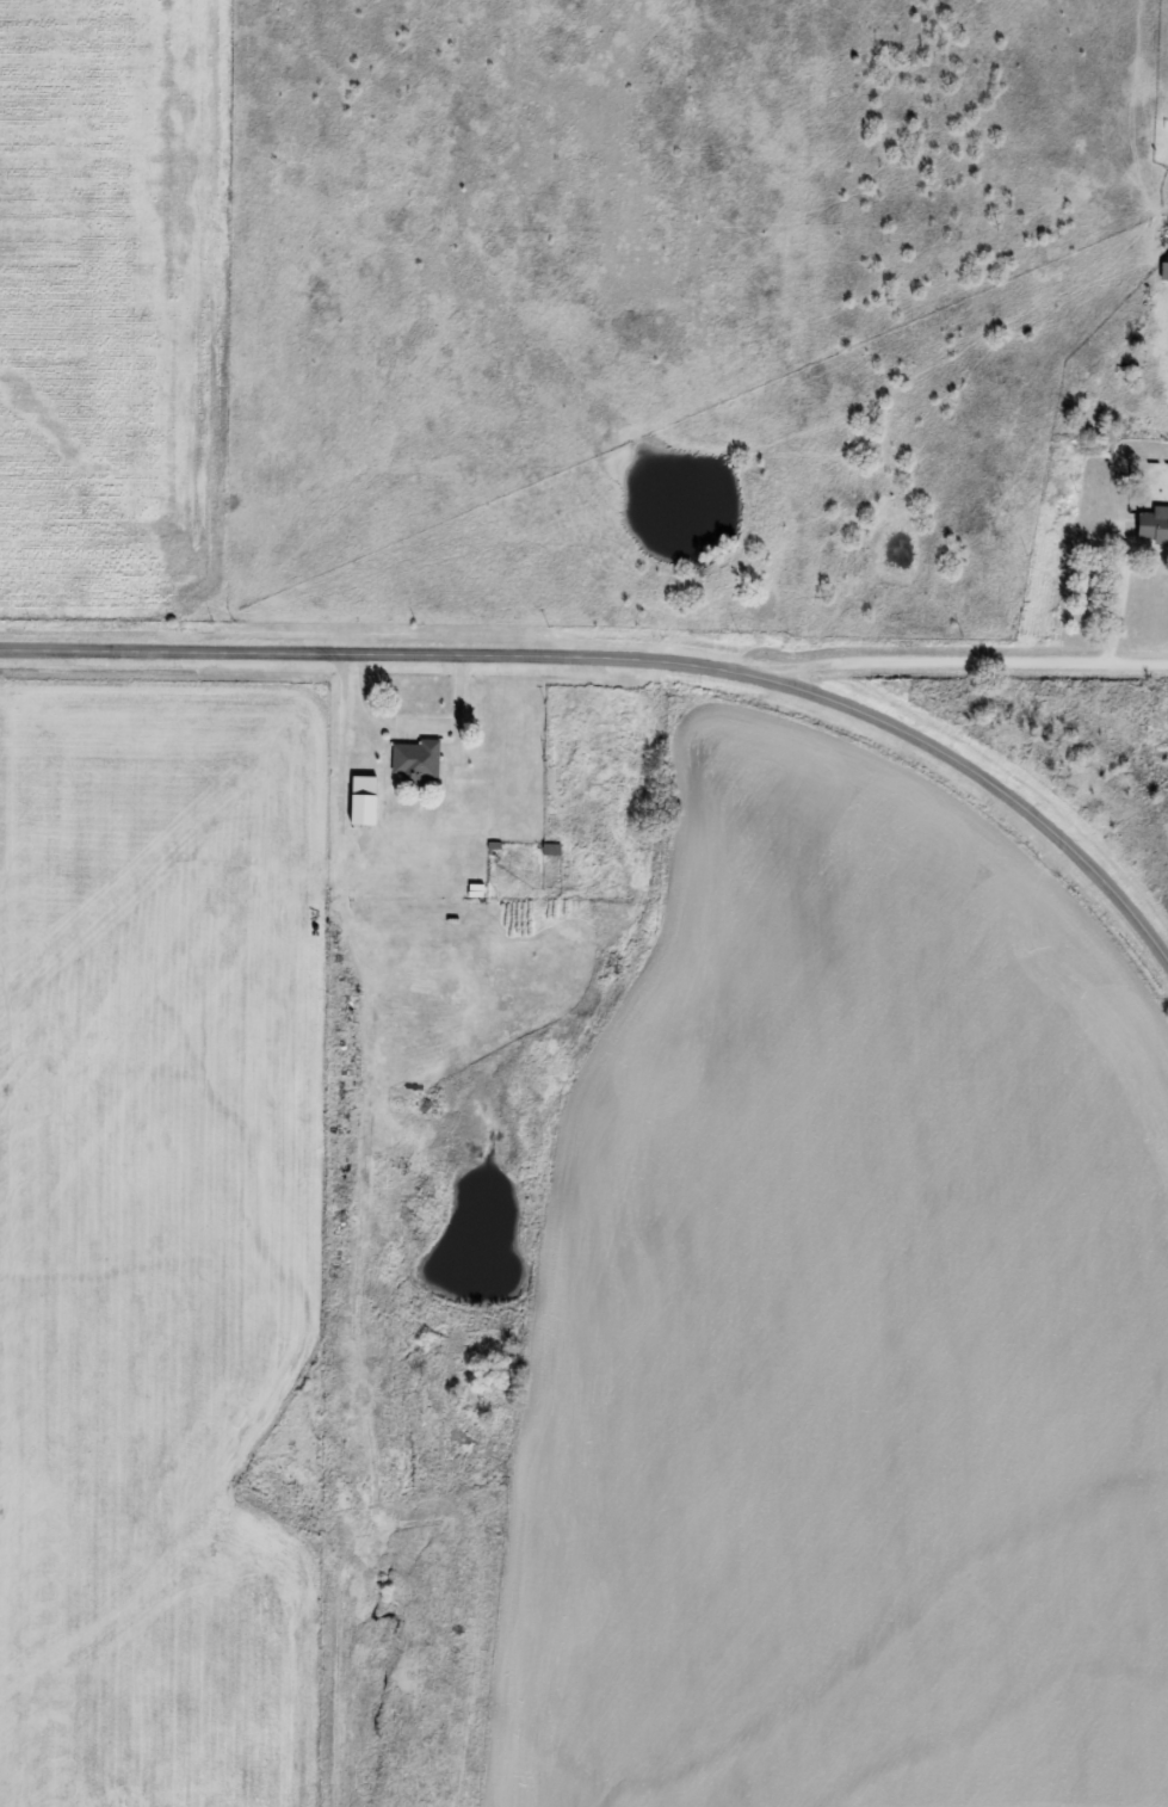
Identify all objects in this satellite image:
building: (1163, 272)
building: (1152, 526)
road: (999, 660)
road: (634, 671)
building: (416, 763)
building: (361, 787)

